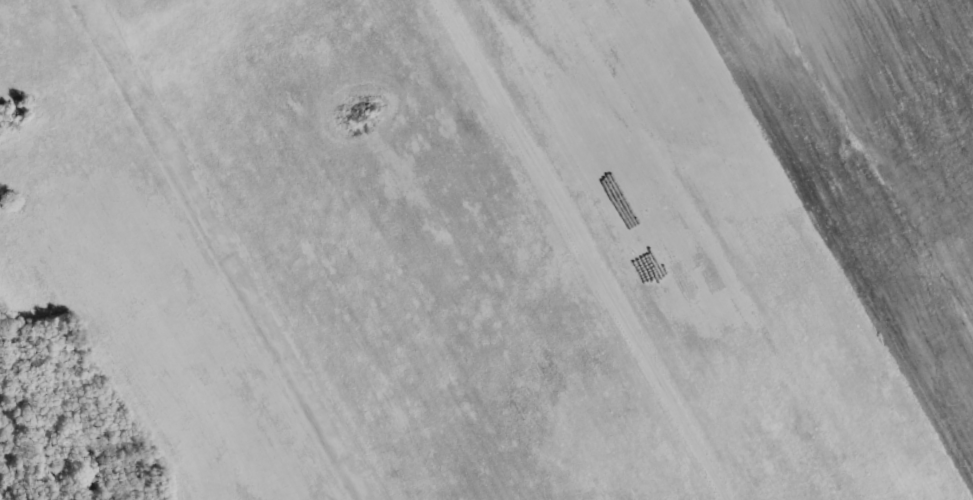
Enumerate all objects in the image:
road: (585, 249)

